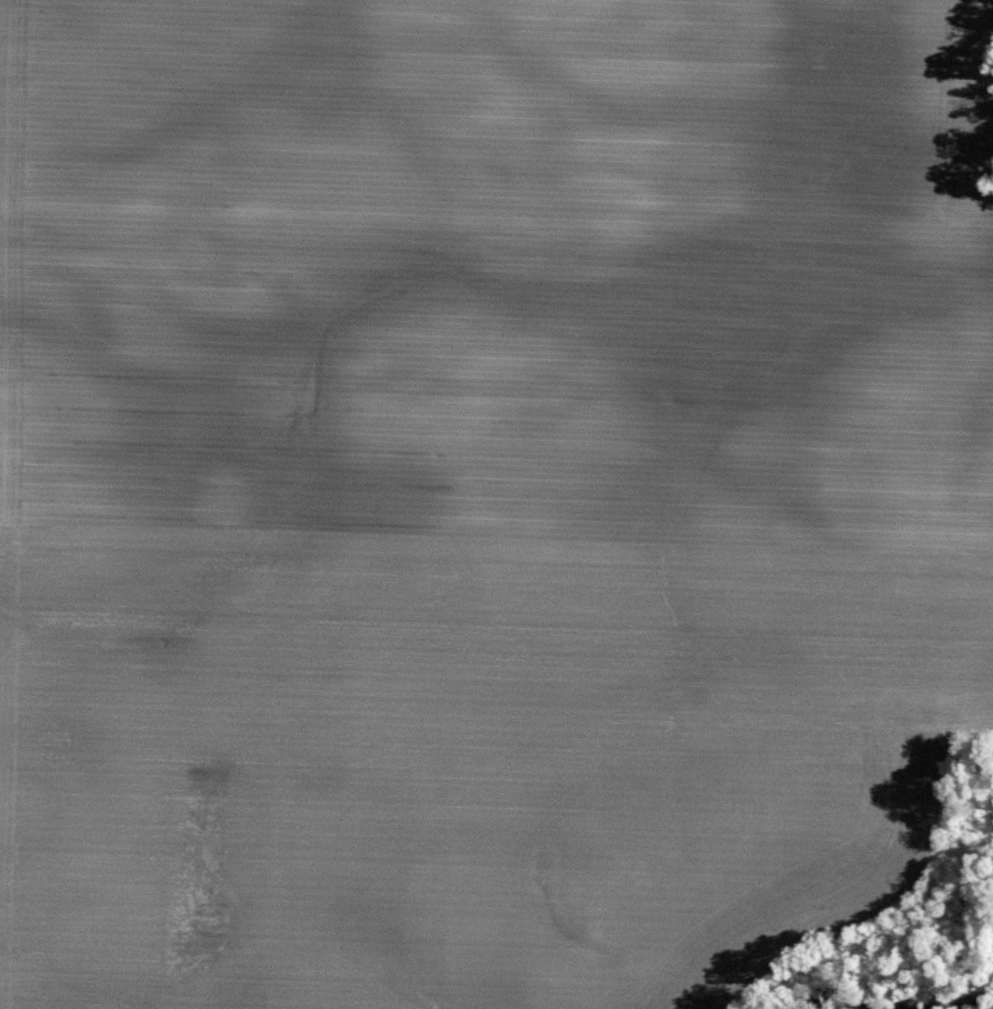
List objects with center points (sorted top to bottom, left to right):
river: (964, 987)

